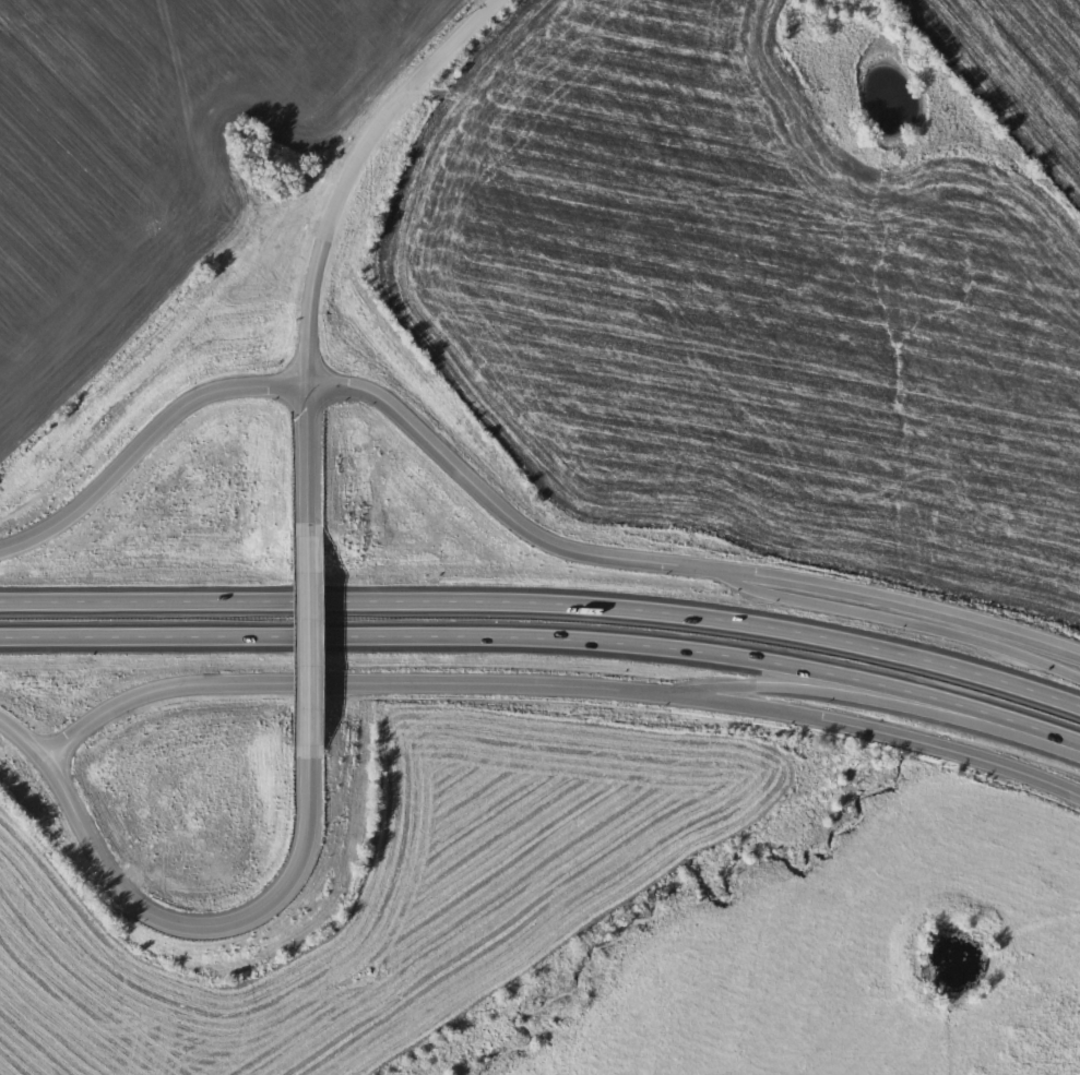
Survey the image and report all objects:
road: (352, 168)
road: (365, 385)
road: (310, 458)
road: (906, 598)
road: (545, 605)
road: (904, 619)
road: (546, 637)
road: (312, 645)
road: (352, 679)
road: (882, 702)
road: (885, 731)
road: (21, 737)
road: (193, 924)

